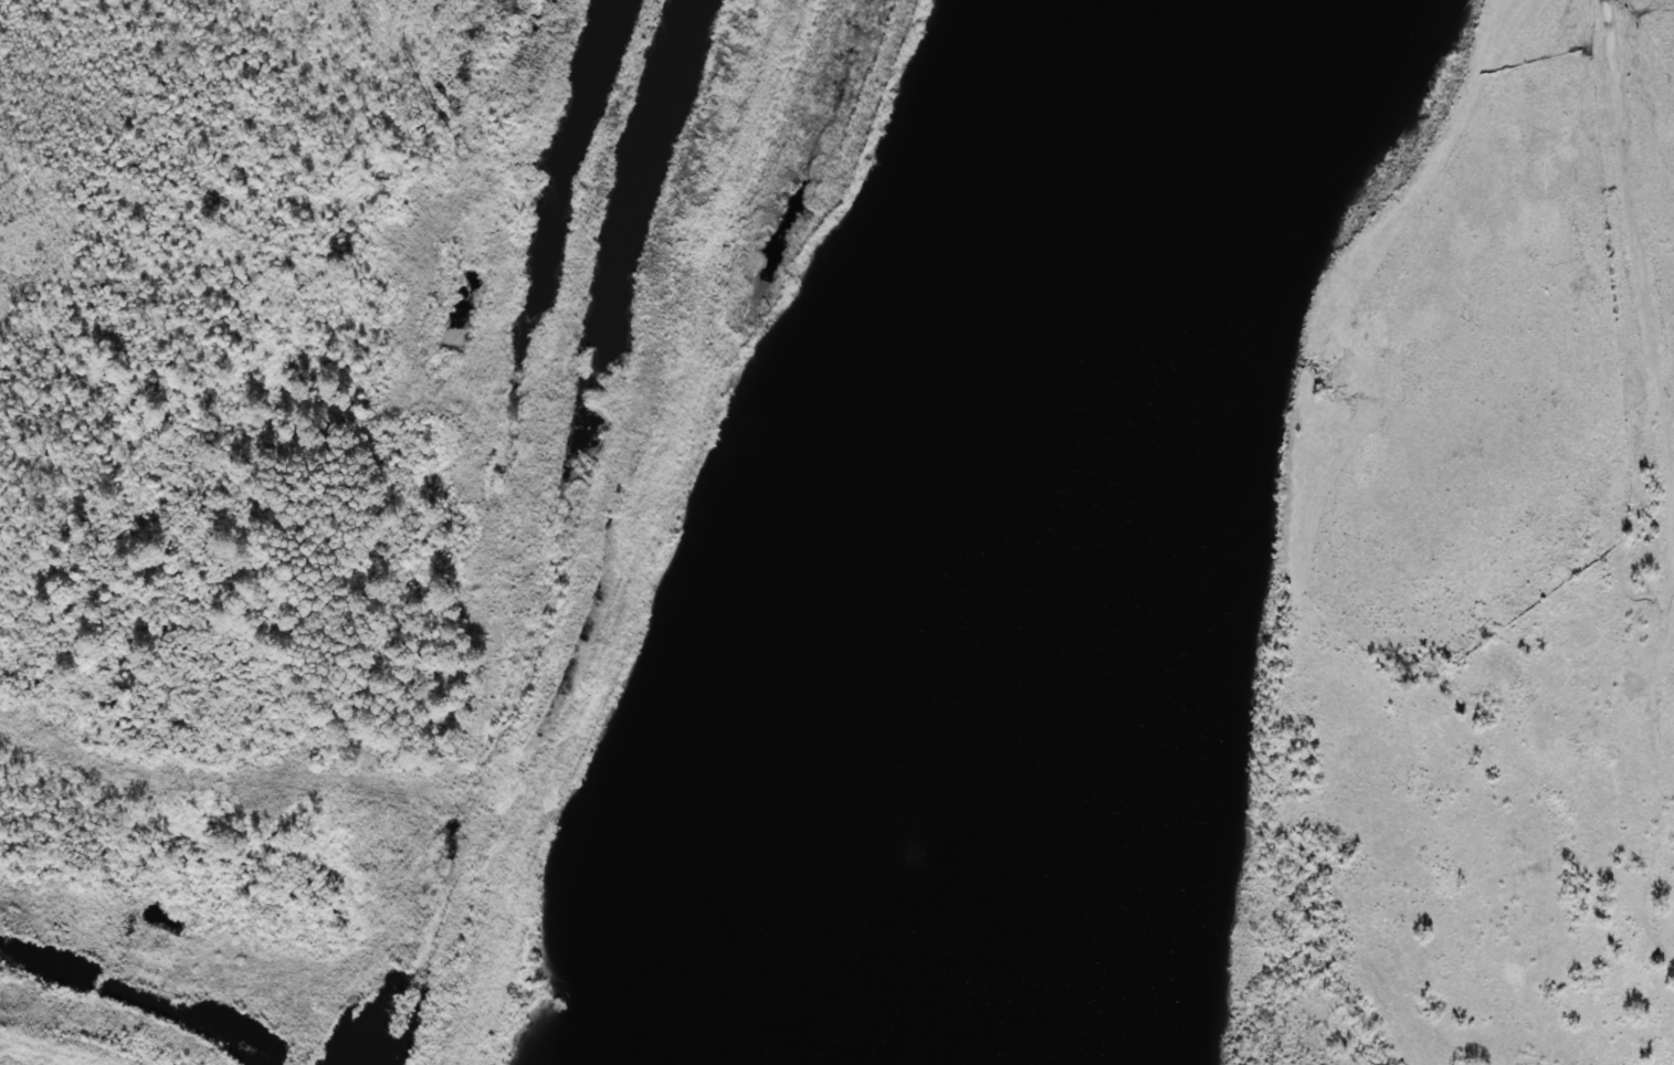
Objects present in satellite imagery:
road: (1653, 372)

